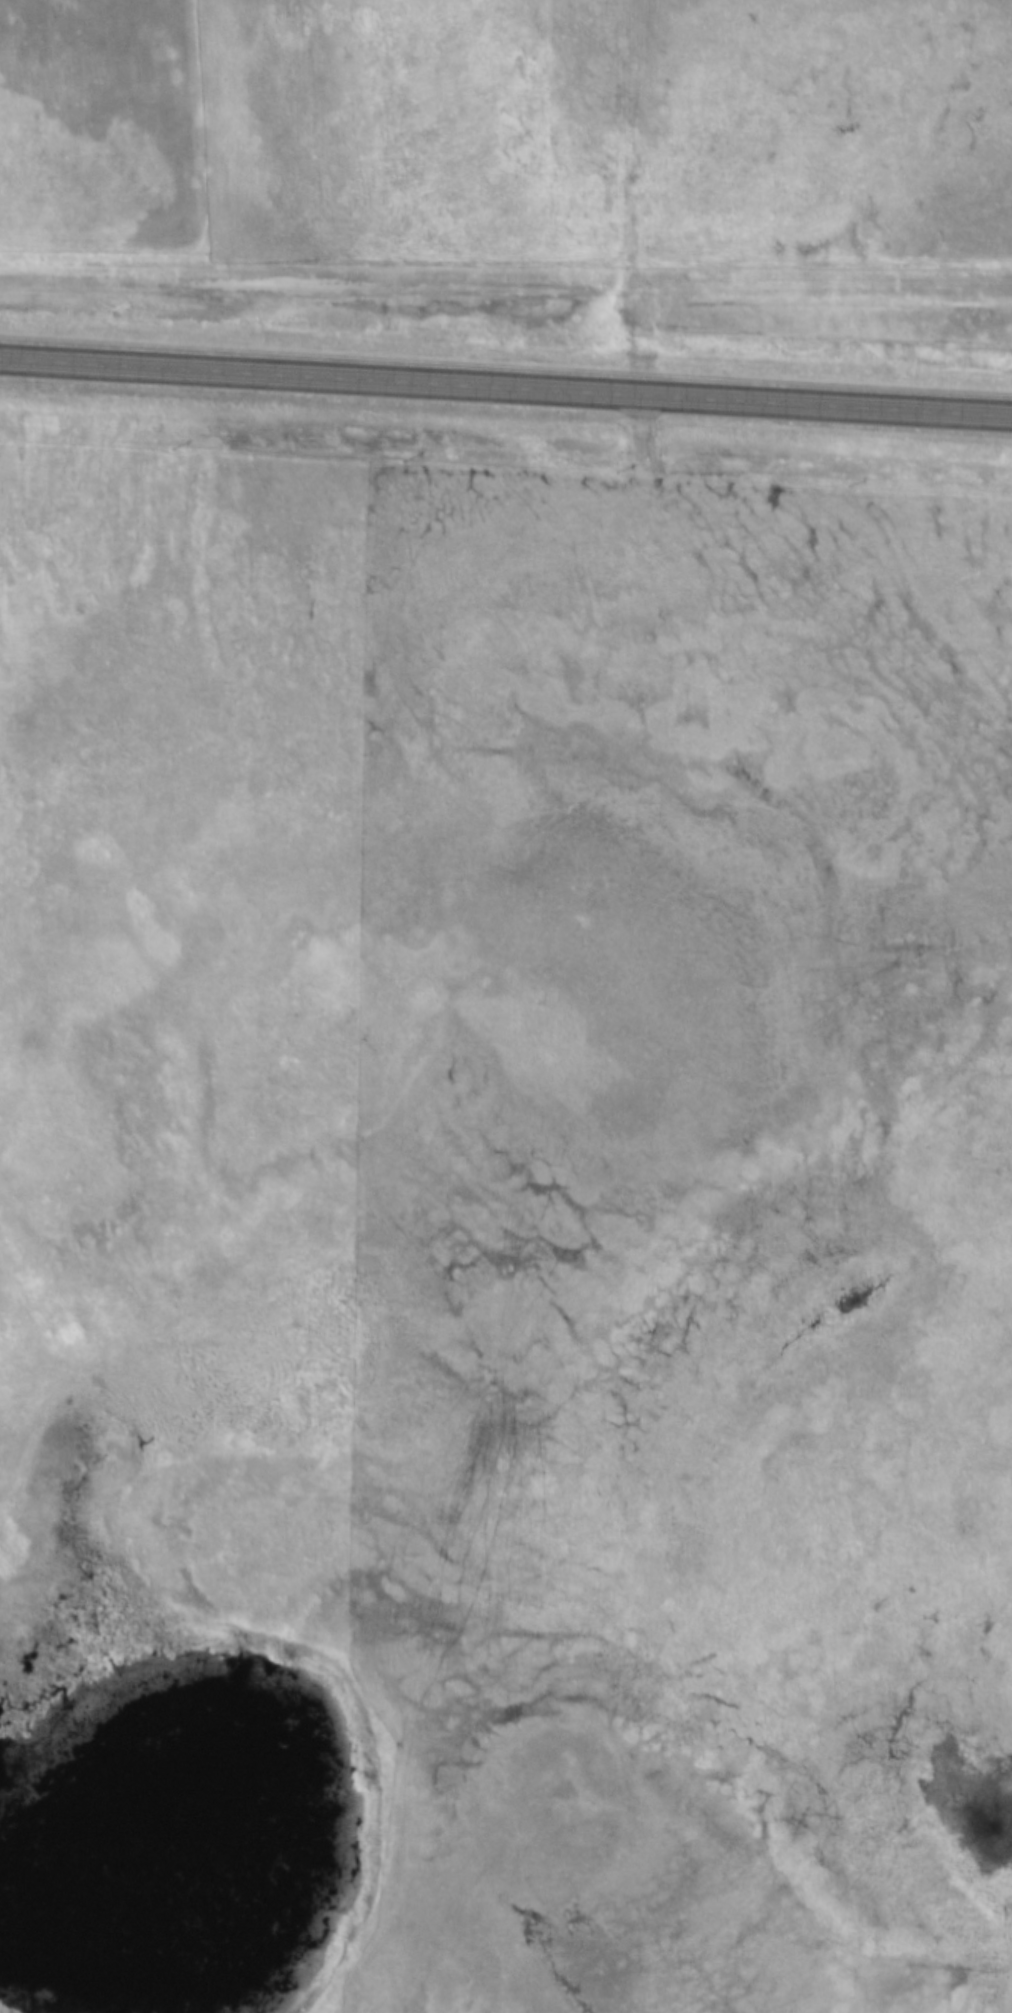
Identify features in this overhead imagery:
road: (505, 381)

